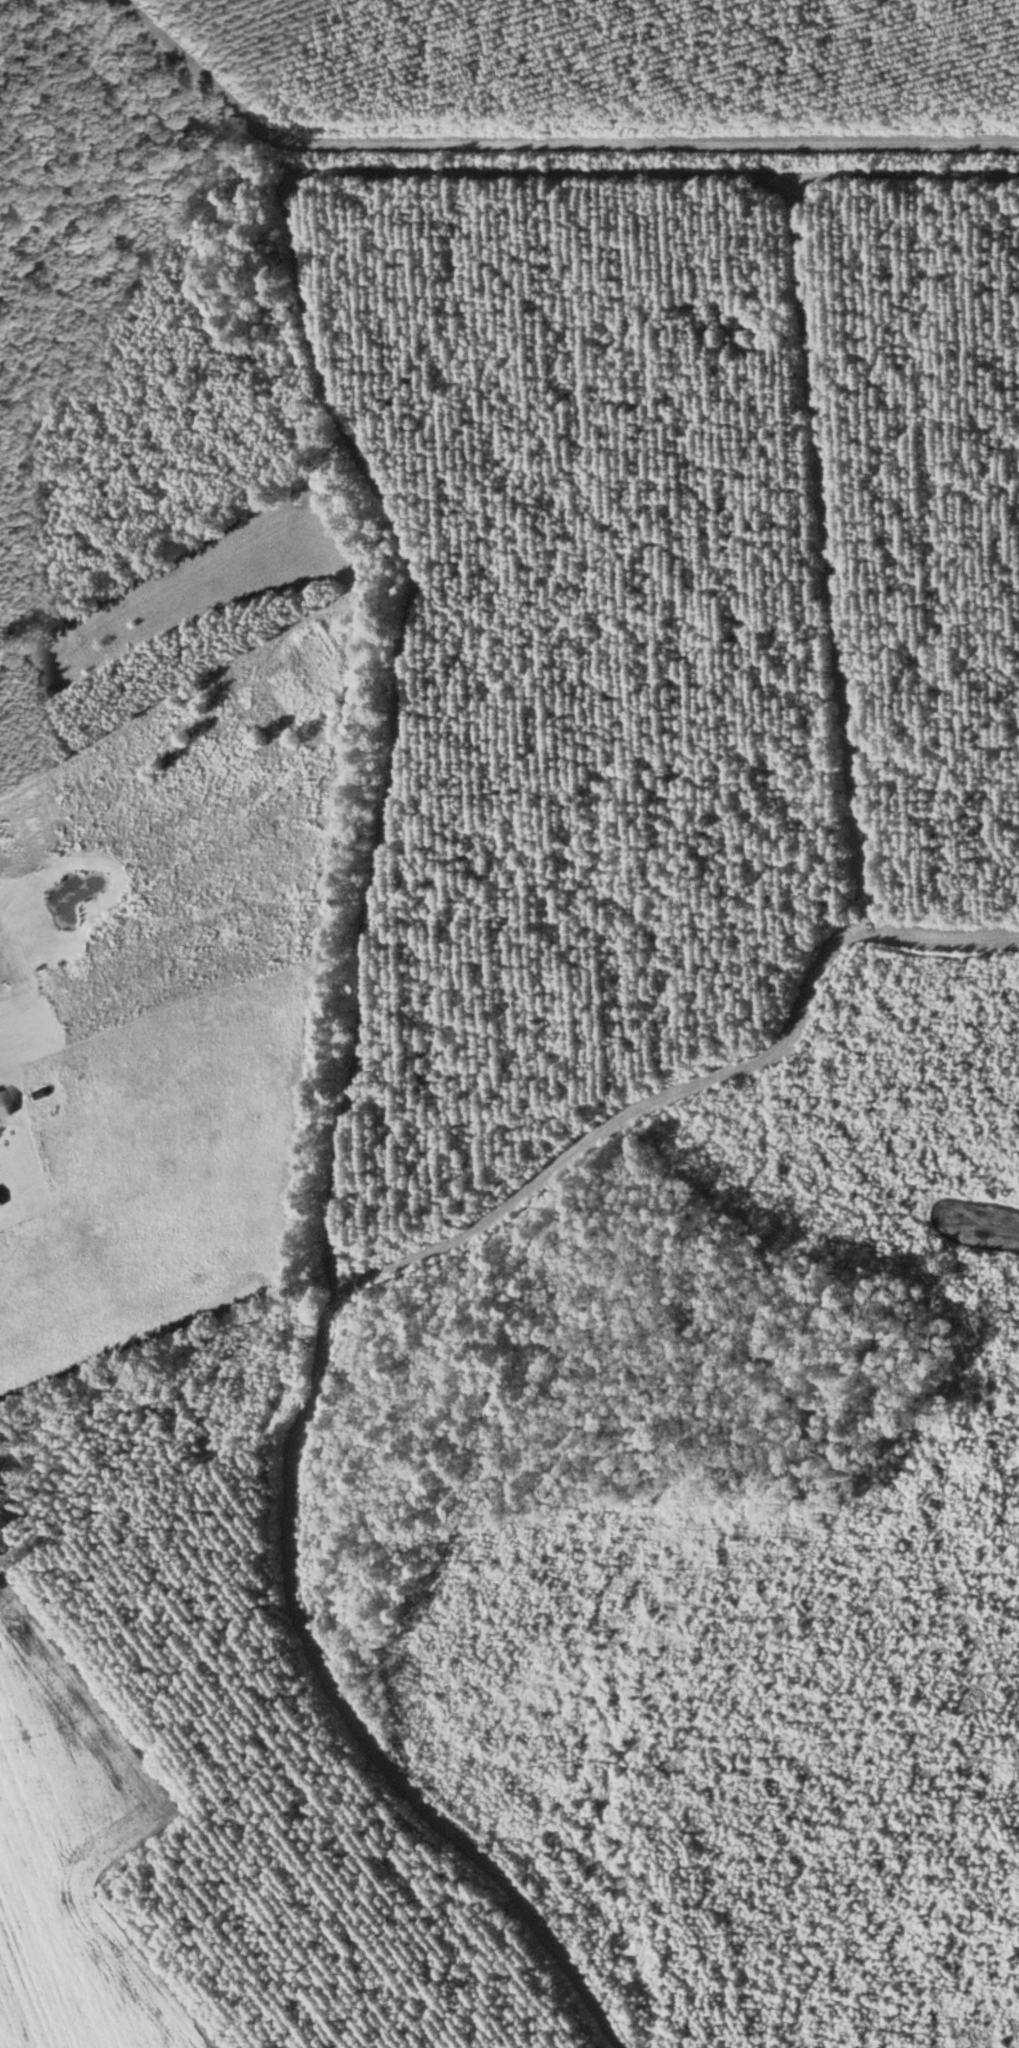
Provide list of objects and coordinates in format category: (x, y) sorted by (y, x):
road: (541, 140)
building: (4, 1108)
building: (1, 1204)

